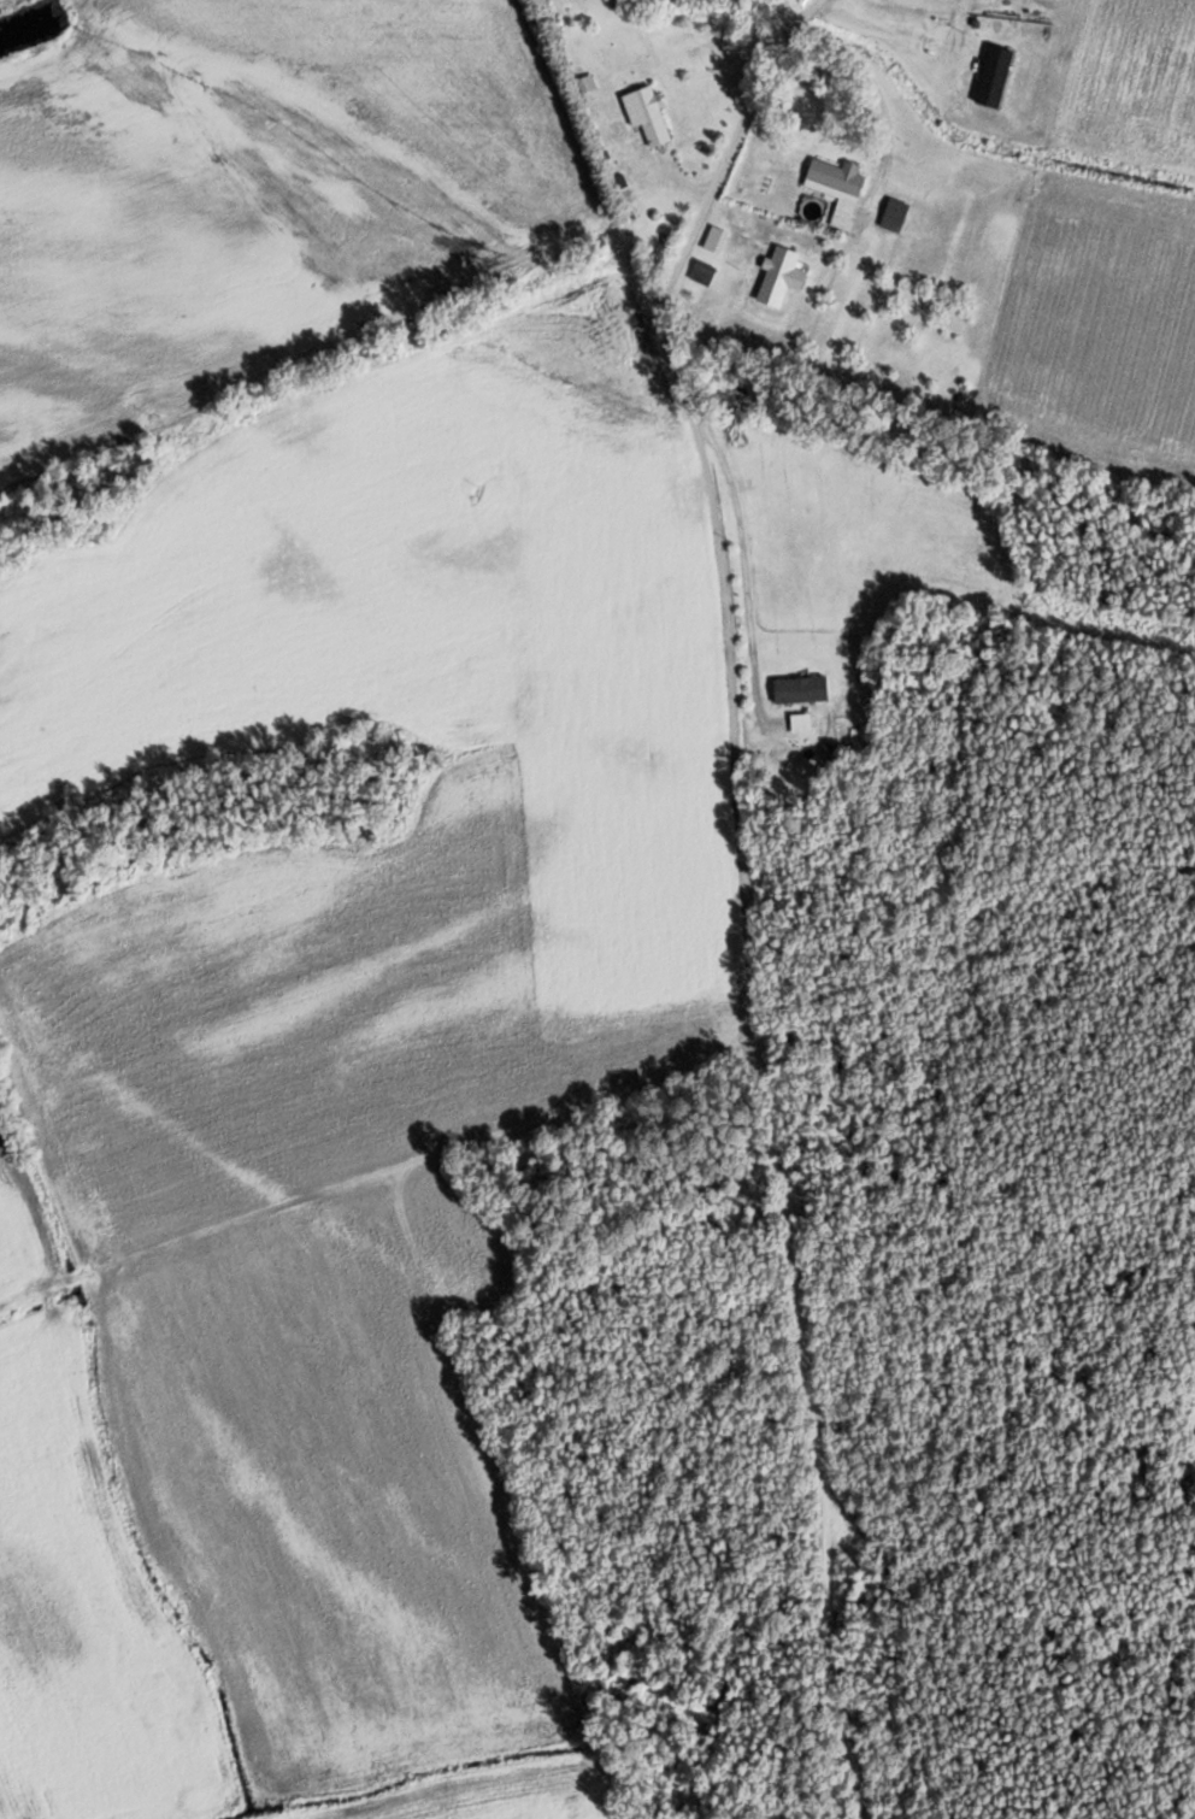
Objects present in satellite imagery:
building: (651, 116)
building: (837, 188)
building: (894, 214)
road: (677, 224)
building: (778, 276)
building: (800, 714)

